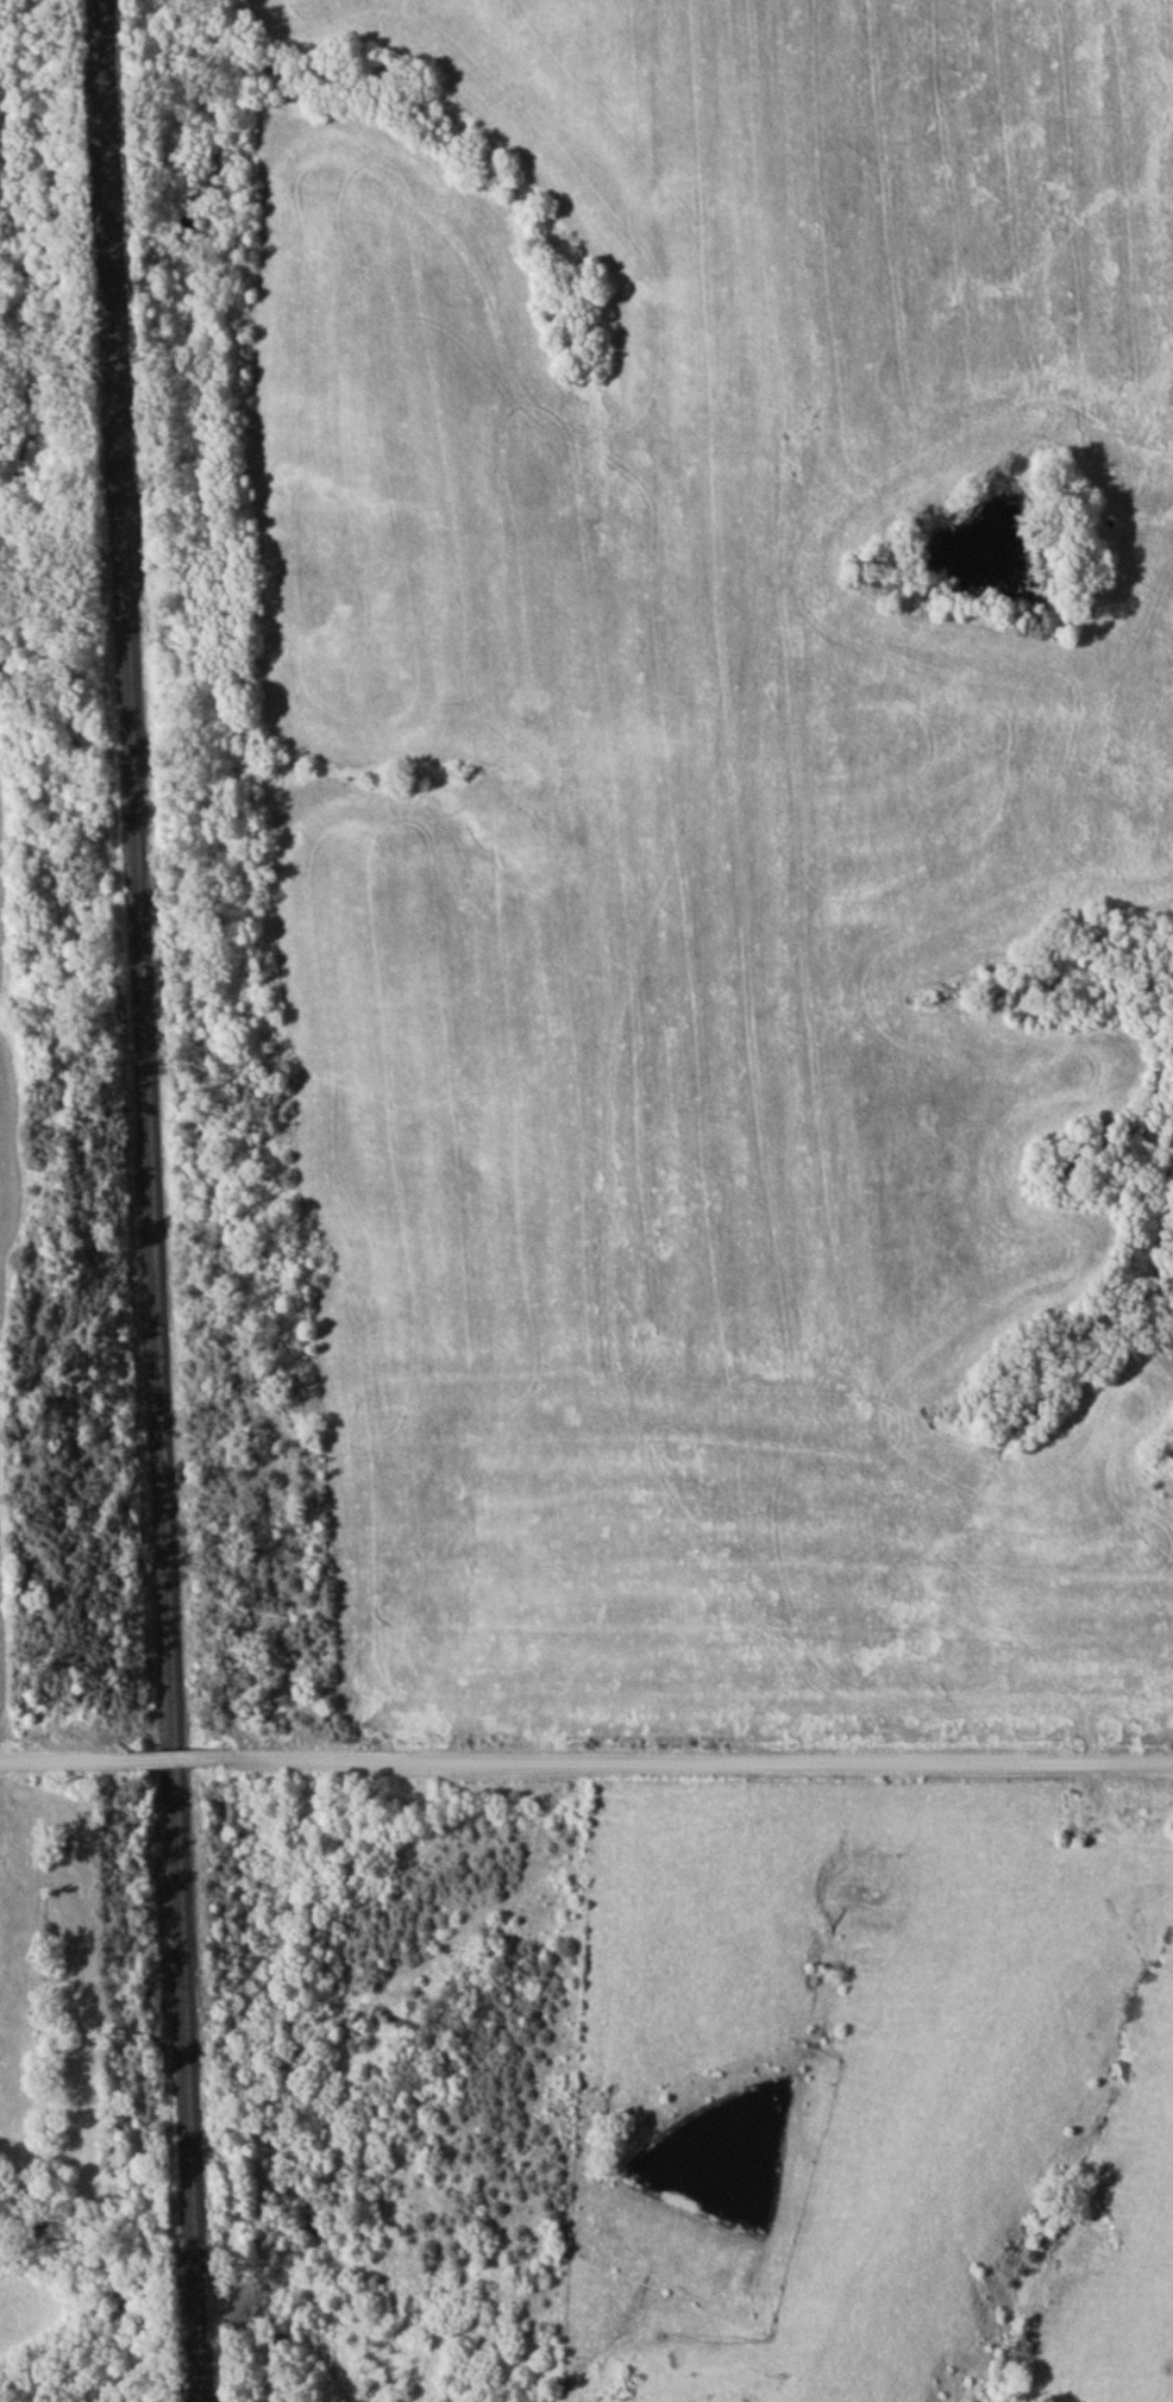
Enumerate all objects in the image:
railway: (152, 1200)
road: (175, 1758)
road: (64, 1760)
road: (697, 1760)
building: (1147, 1817)

